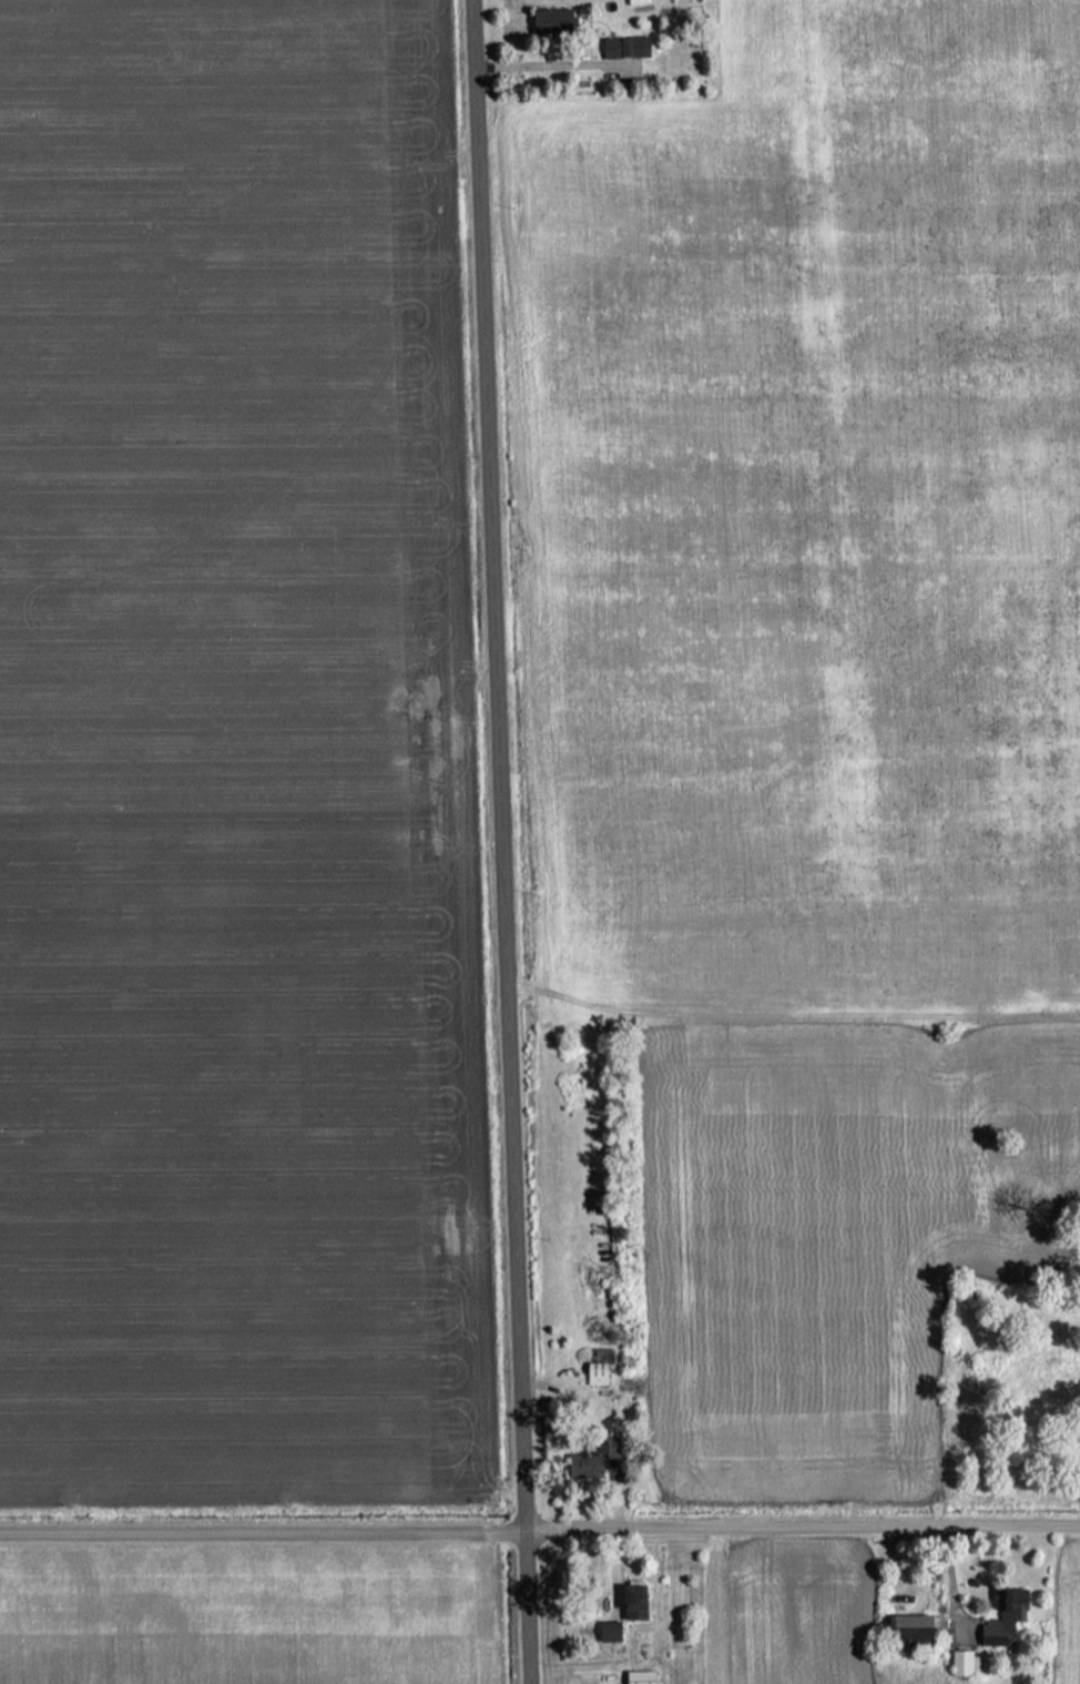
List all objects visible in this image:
building: (550, 21)
building: (622, 48)
crop: (814, 681)
crop: (234, 763)
road: (506, 842)
road: (539, 1525)
crop: (787, 1613)
crop: (246, 1614)
crop: (1069, 1615)
building: (1001, 1617)
building: (908, 1632)
building: (605, 1634)
building: (636, 1677)

